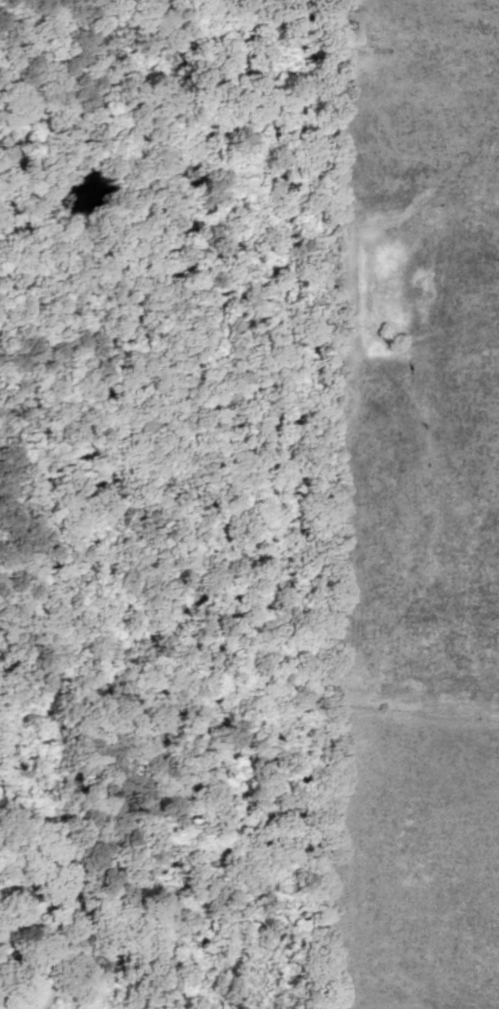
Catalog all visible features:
building: (21, 896)
building: (59, 898)
building: (13, 957)
road: (35, 958)

